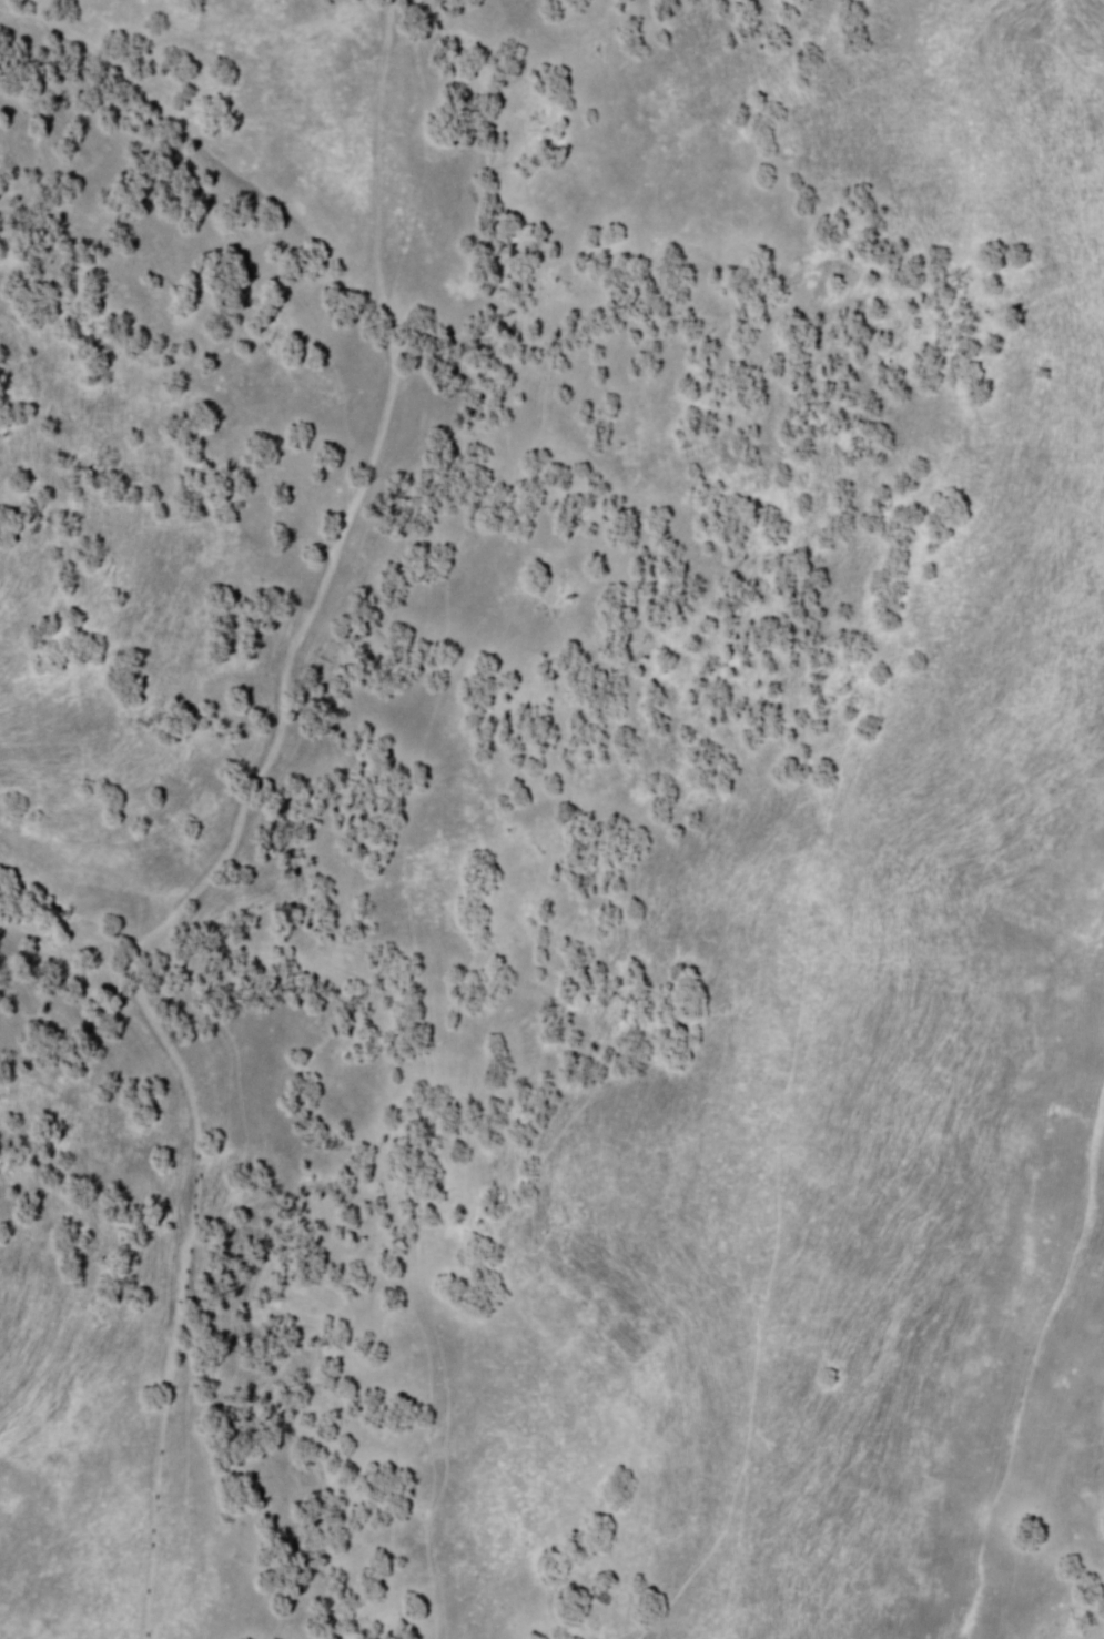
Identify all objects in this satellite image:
road: (234, 828)

